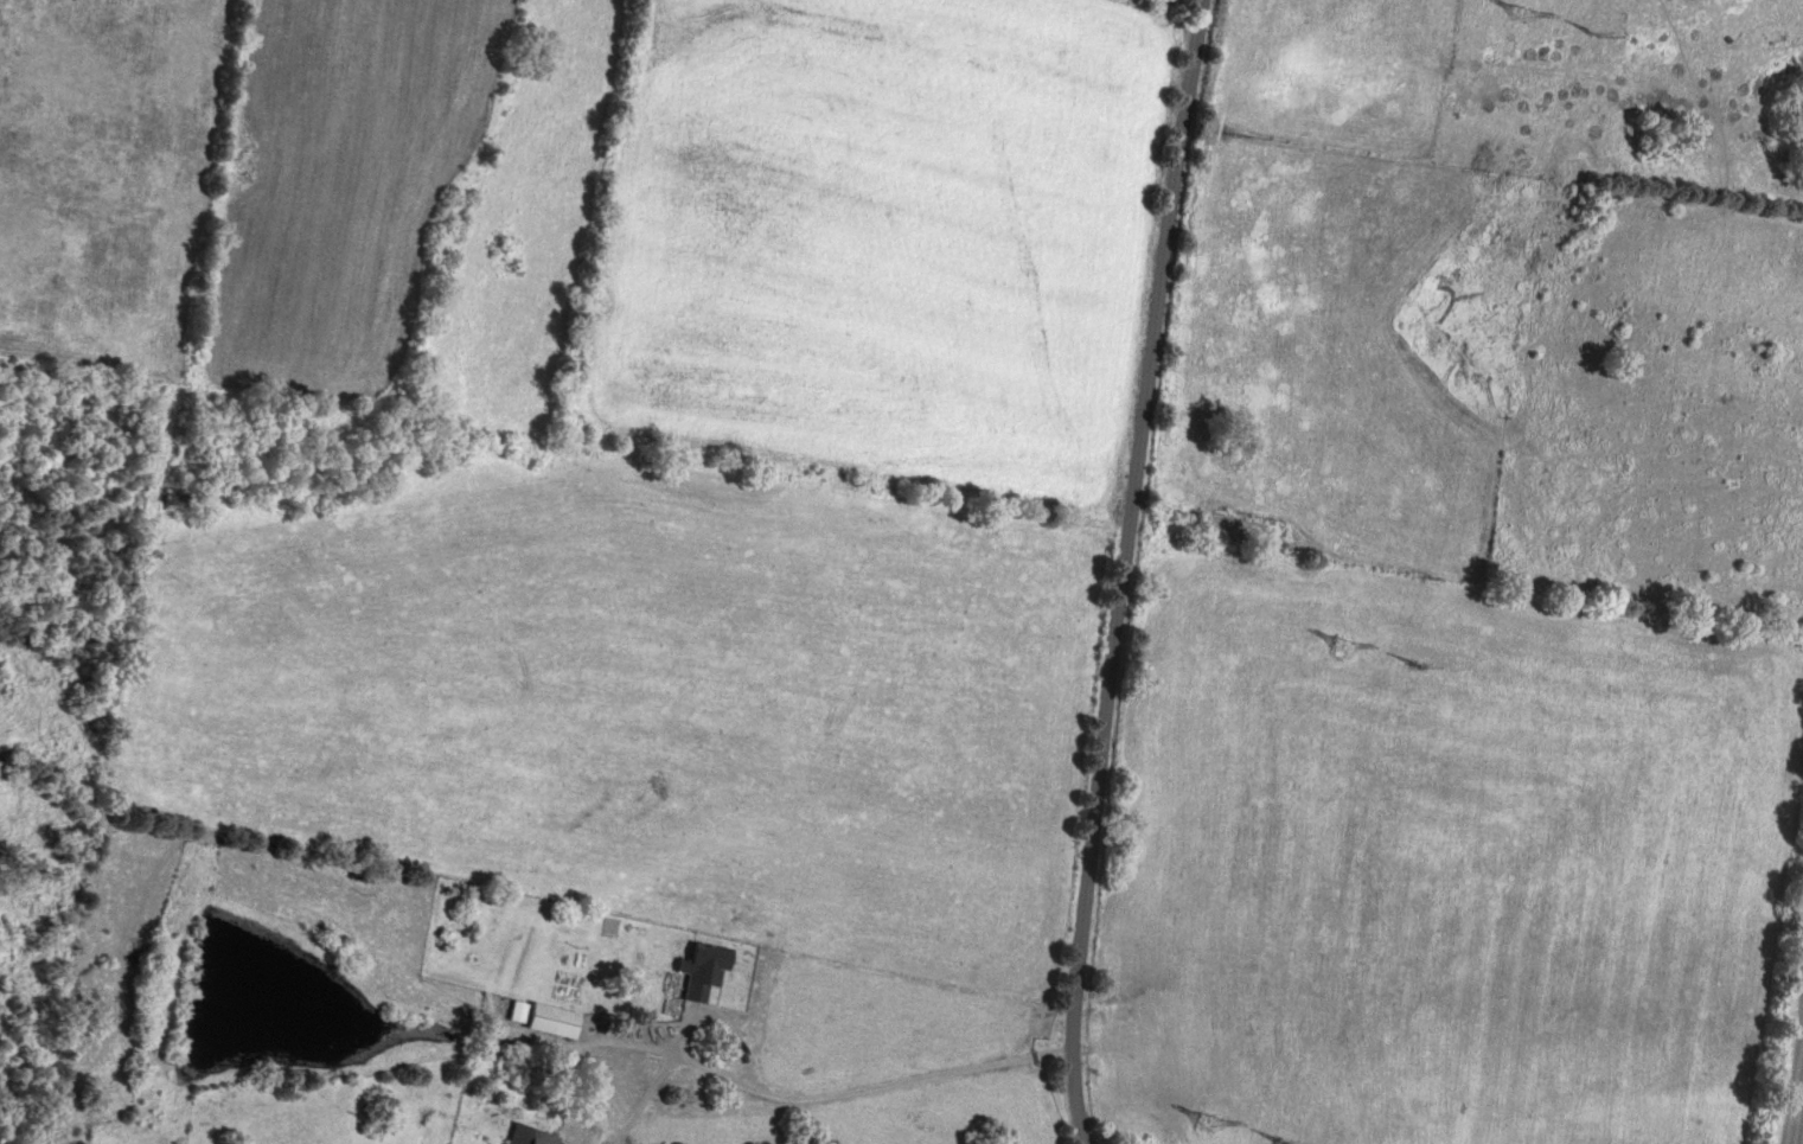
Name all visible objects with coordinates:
road: (1119, 570)
building: (697, 970)
building: (549, 1020)
road: (846, 1099)
building: (528, 1135)

